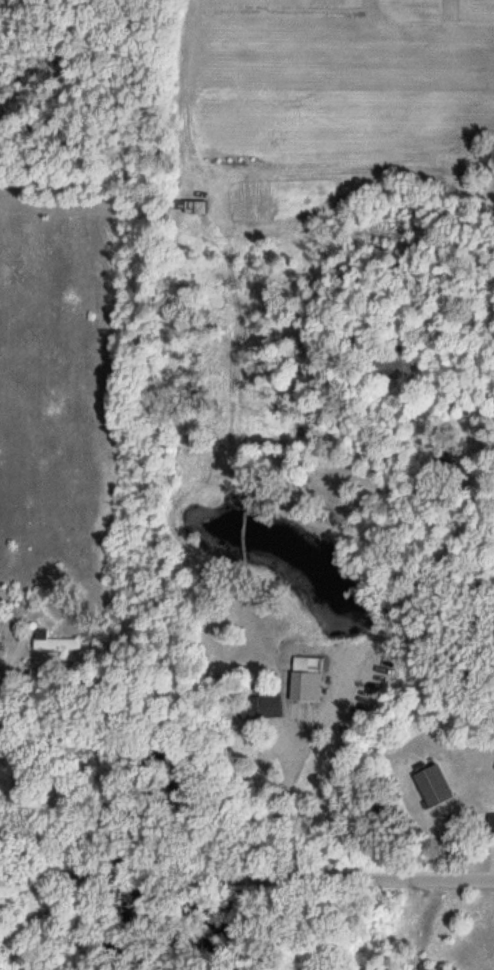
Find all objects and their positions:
building: (55, 641)
road: (7, 662)
building: (305, 686)
building: (262, 707)
building: (434, 786)
building: (491, 826)
road: (247, 879)

